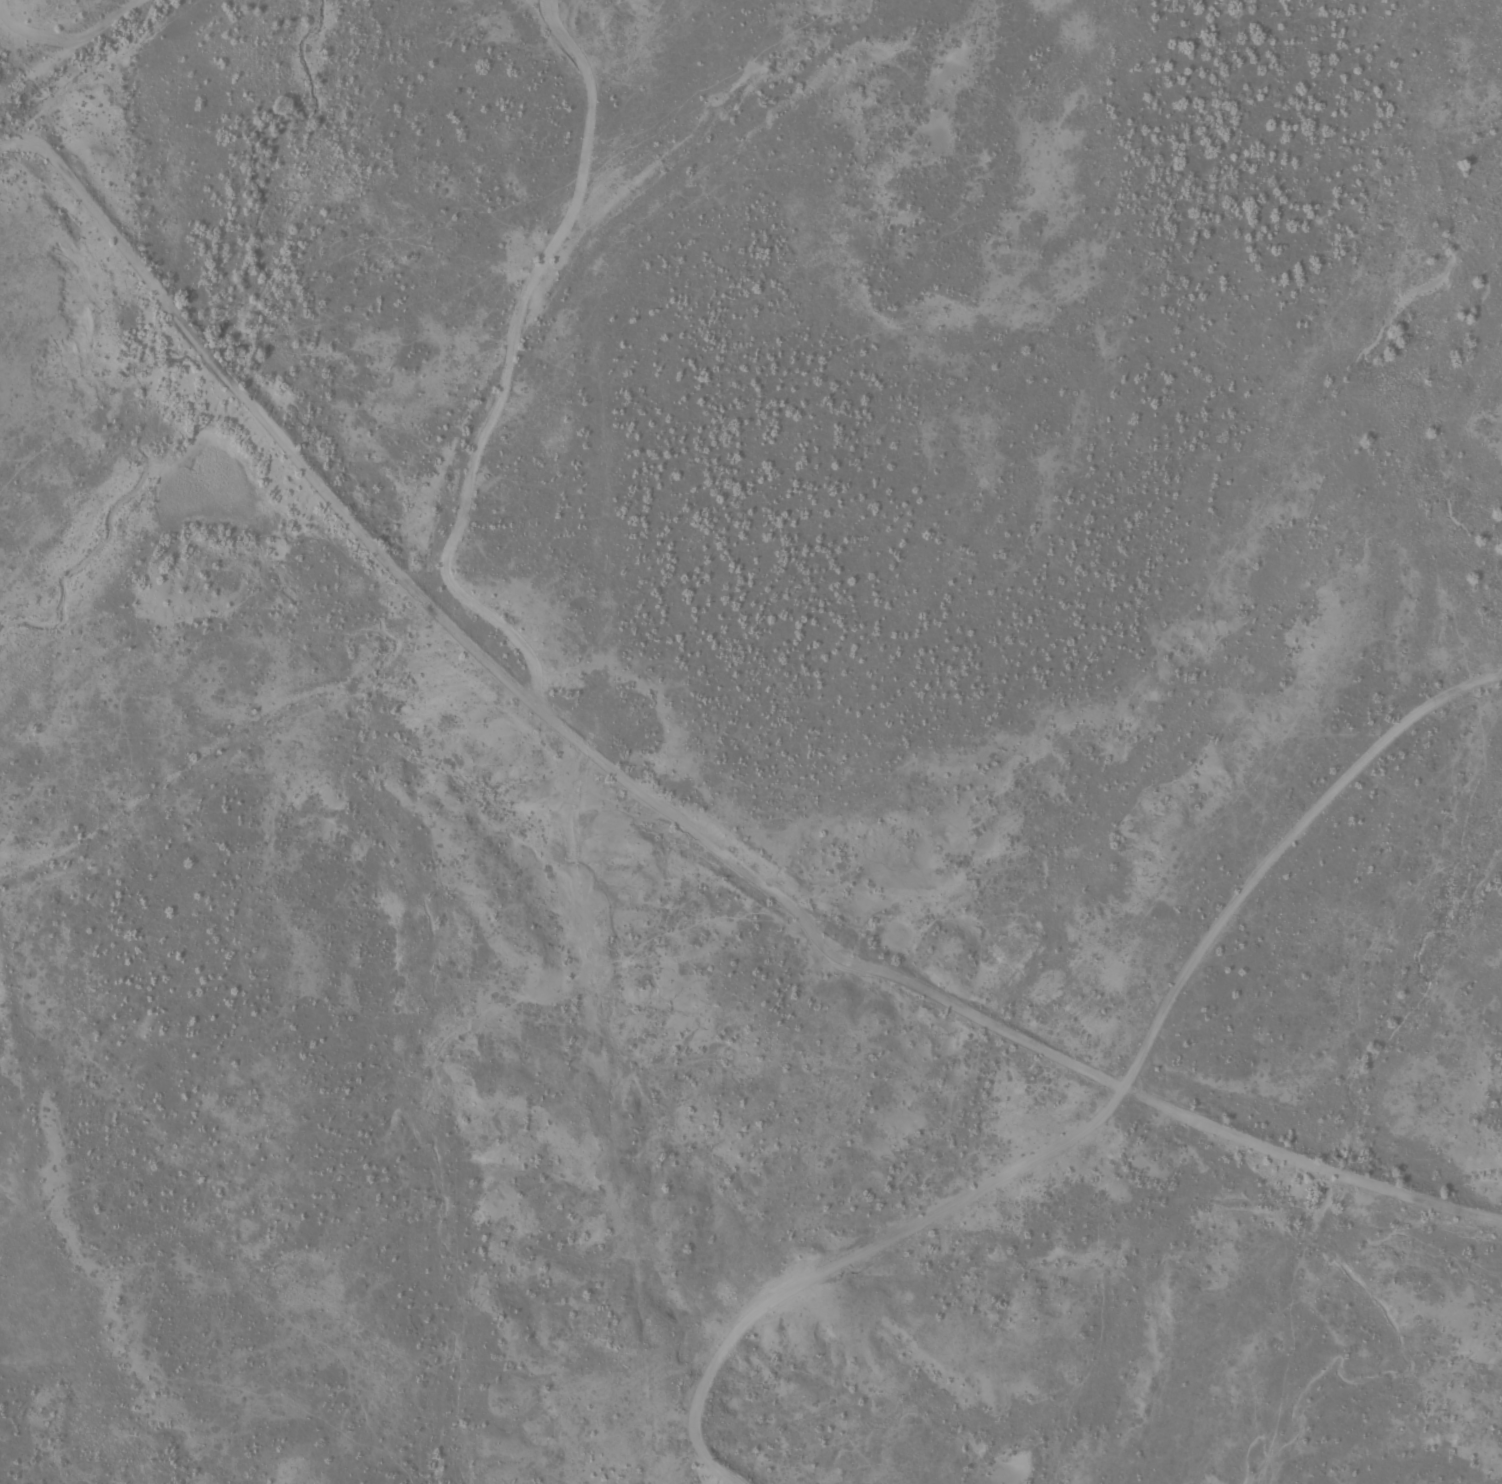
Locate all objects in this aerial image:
railway: (87, 59)
railway: (636, 800)
road: (1104, 1113)

